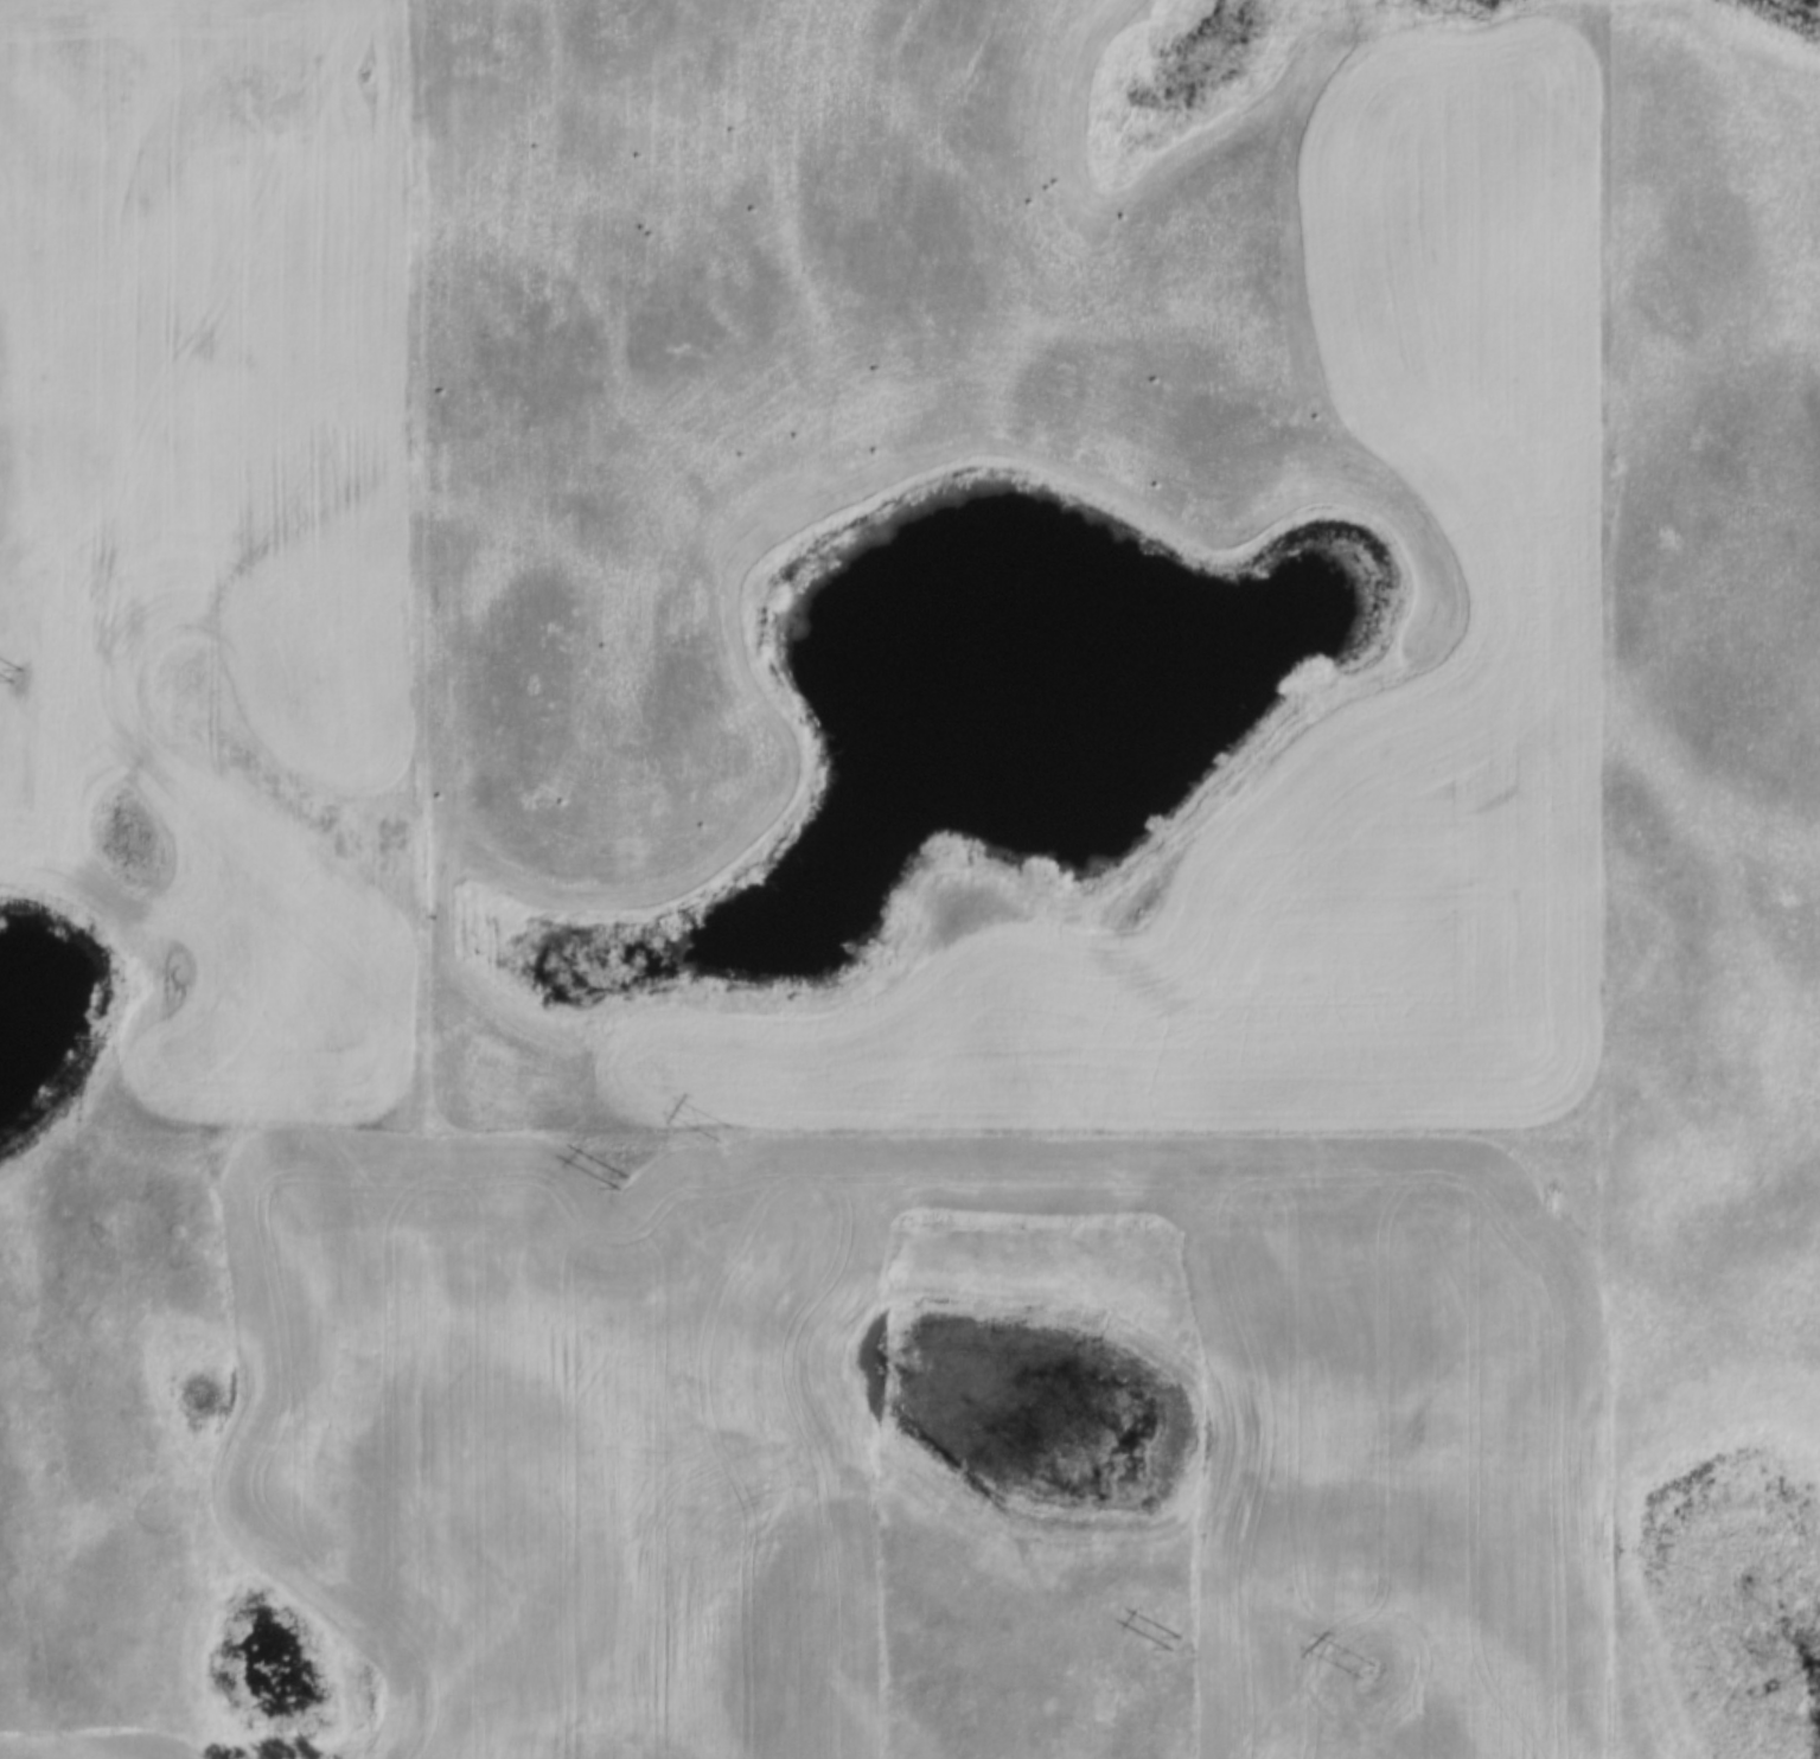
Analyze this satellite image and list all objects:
road: (414, 881)
power tower: (721, 1140)
power tower: (1371, 1658)

